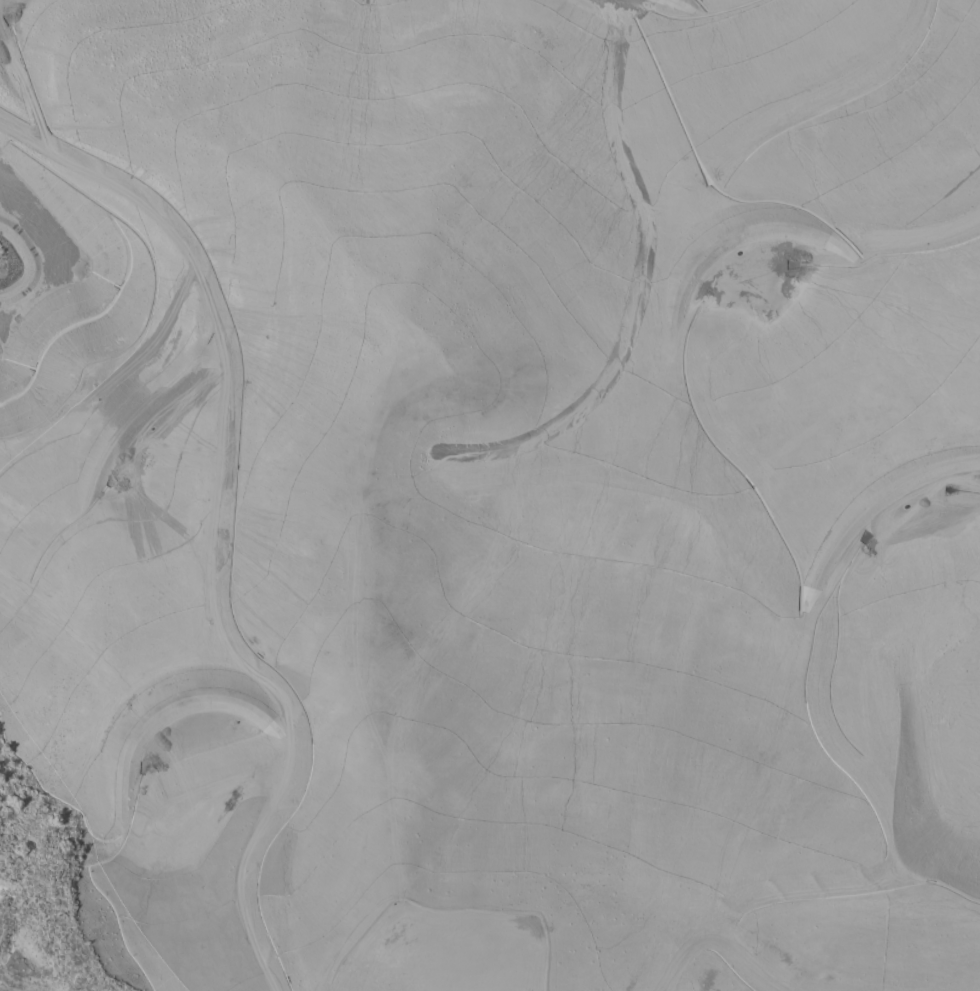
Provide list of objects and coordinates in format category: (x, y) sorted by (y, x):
park: (581, 137)

